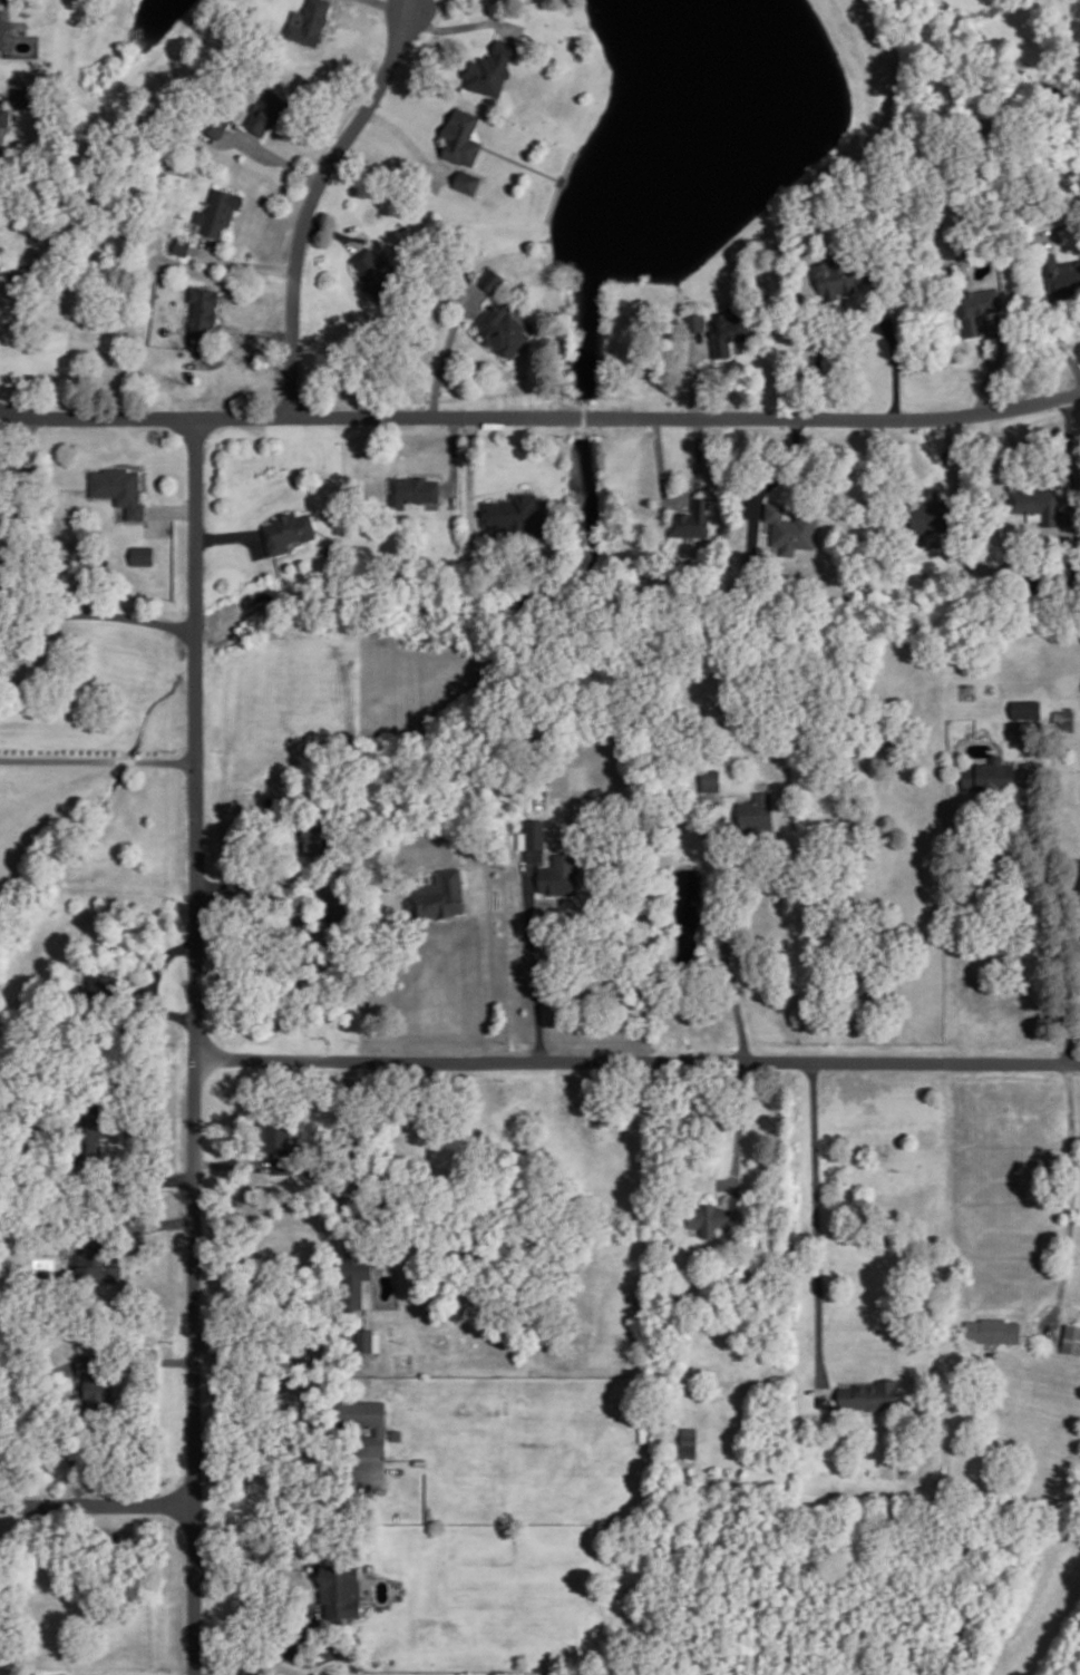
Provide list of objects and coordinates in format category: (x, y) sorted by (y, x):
road: (393, 4)
road: (412, 4)
road: (416, 4)
road: (331, 16)
building: (309, 22)
road: (459, 25)
building: (1, 30)
building: (490, 67)
road: (2, 94)
building: (25, 94)
building: (3, 115)
building: (259, 121)
building: (215, 123)
building: (461, 137)
road: (409, 139)
road: (275, 155)
road: (519, 160)
pier: (561, 178)
building: (467, 179)
road: (312, 199)
building: (217, 211)
road: (333, 232)
building: (181, 245)
road: (243, 261)
building: (373, 272)
building: (830, 272)
building: (1060, 273)
building: (492, 279)
road: (1029, 302)
building: (976, 306)
building: (202, 310)
building: (694, 320)
building: (504, 328)
building: (724, 331)
road: (228, 339)
road: (447, 349)
road: (692, 373)
road: (986, 374)
road: (895, 377)
road: (541, 415)
road: (1068, 416)
road: (952, 454)
road: (454, 457)
building: (1, 471)
road: (471, 473)
road: (769, 484)
building: (118, 486)
road: (500, 487)
building: (412, 488)
flagpole: (478, 497)
road: (677, 500)
building: (1038, 501)
road: (172, 509)
building: (517, 513)
building: (932, 514)
building: (691, 518)
building: (791, 528)
building: (286, 529)
road: (234, 534)
building: (143, 554)
road: (99, 612)
building: (1025, 707)
building: (1063, 718)
road: (99, 758)
building: (987, 772)
building: (710, 779)
building: (757, 806)
building: (533, 832)
building: (311, 836)
building: (557, 873)
road: (254, 877)
building: (439, 894)
road: (1061, 912)
road: (456, 916)
road: (532, 956)
road: (485, 963)
road: (150, 982)
building: (103, 984)
road: (732, 985)
road: (196, 1045)
road: (638, 1061)
building: (85, 1124)
road: (739, 1129)
building: (272, 1133)
road: (232, 1161)
road: (149, 1179)
road: (1071, 1199)
building: (708, 1216)
road: (162, 1223)
road: (817, 1234)
building: (89, 1257)
building: (352, 1269)
building: (993, 1328)
building: (1071, 1337)
road: (271, 1338)
building: (368, 1341)
road: (169, 1360)
building: (89, 1367)
building: (869, 1394)
building: (363, 1420)
building: (396, 1433)
building: (689, 1439)
road: (283, 1463)
road: (96, 1503)
building: (340, 1587)

